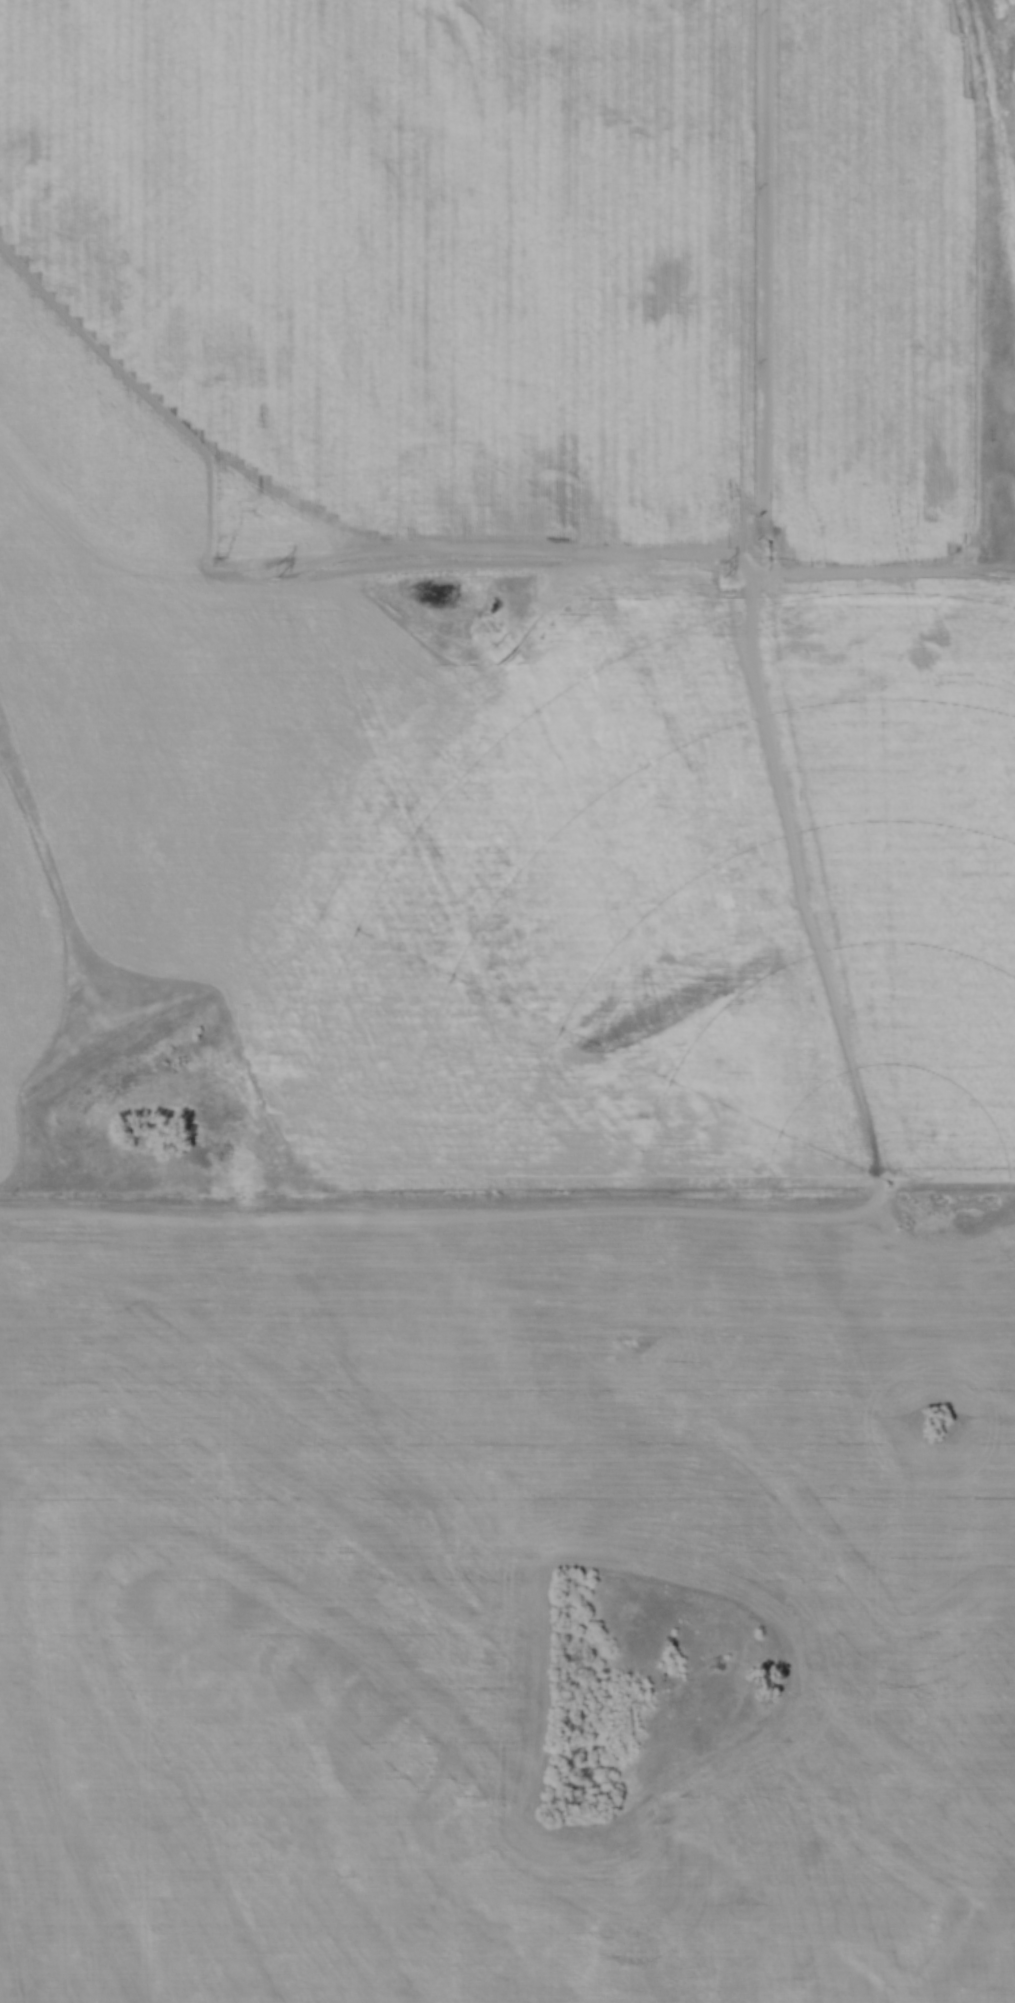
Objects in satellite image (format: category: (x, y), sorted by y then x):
power tower: (723, 567)
power tower: (279, 568)

